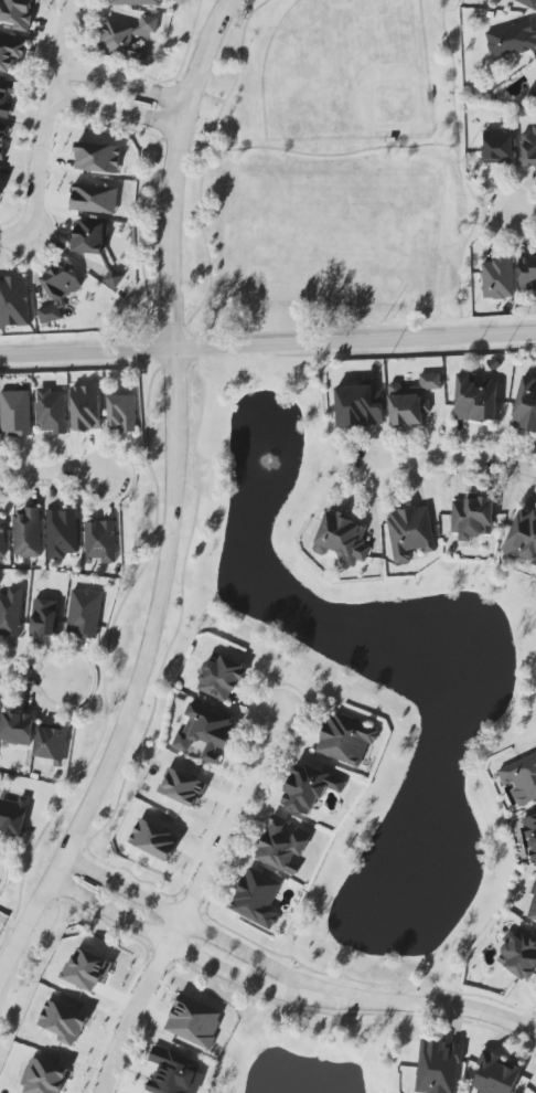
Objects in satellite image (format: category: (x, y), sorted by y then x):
building: (137, 2)
building: (527, 3)
building: (18, 12)
building: (128, 38)
building: (512, 39)
building: (11, 54)
park: (349, 73)
road: (124, 83)
building: (533, 89)
road: (210, 94)
building: (6, 97)
road: (116, 109)
road: (46, 117)
building: (2, 139)
building: (497, 147)
building: (528, 149)
road: (318, 155)
building: (98, 158)
road: (459, 160)
road: (204, 165)
building: (0, 171)
road: (499, 183)
building: (95, 199)
road: (523, 210)
road: (495, 229)
road: (14, 235)
building: (95, 246)
building: (527, 272)
building: (499, 280)
building: (58, 293)
building: (13, 303)
road: (355, 341)
road: (87, 351)
building: (475, 400)
building: (411, 401)
building: (360, 406)
building: (526, 406)
building: (86, 407)
building: (51, 411)
building: (15, 413)
building: (122, 413)
road: (446, 459)
fountain: (274, 463)
road: (54, 469)
road: (175, 500)
building: (472, 519)
building: (28, 533)
building: (62, 534)
building: (410, 537)
building: (523, 537)
building: (2, 538)
building: (342, 540)
building: (100, 542)
building: (11, 613)
building: (85, 613)
building: (44, 617)
road: (33, 675)
building: (222, 679)
building: (17, 728)
building: (206, 735)
building: (346, 739)
building: (52, 746)
building: (57, 777)
building: (522, 778)
building: (183, 787)
building: (309, 787)
building: (13, 816)
building: (532, 835)
building: (154, 839)
building: (282, 846)
fountain: (410, 895)
building: (257, 898)
road: (189, 901)
building: (534, 903)
road: (187, 920)
road: (174, 946)
building: (519, 956)
building: (92, 962)
road: (424, 1005)
building: (63, 1021)
building: (195, 1021)
road: (535, 1033)
building: (438, 1067)
building: (174, 1074)
building: (496, 1074)
building: (44, 1075)

